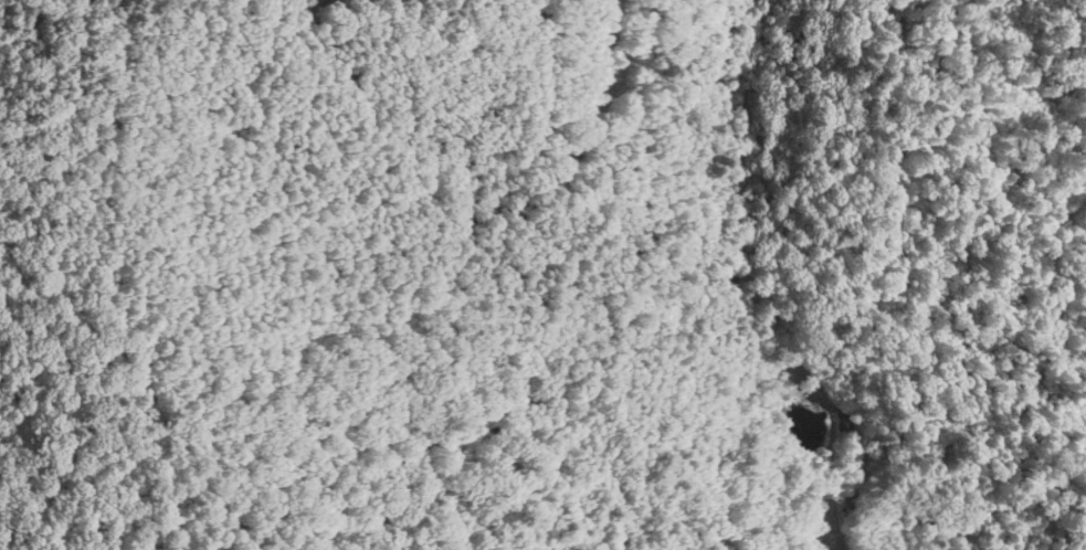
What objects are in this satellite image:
park: (600, 281)

